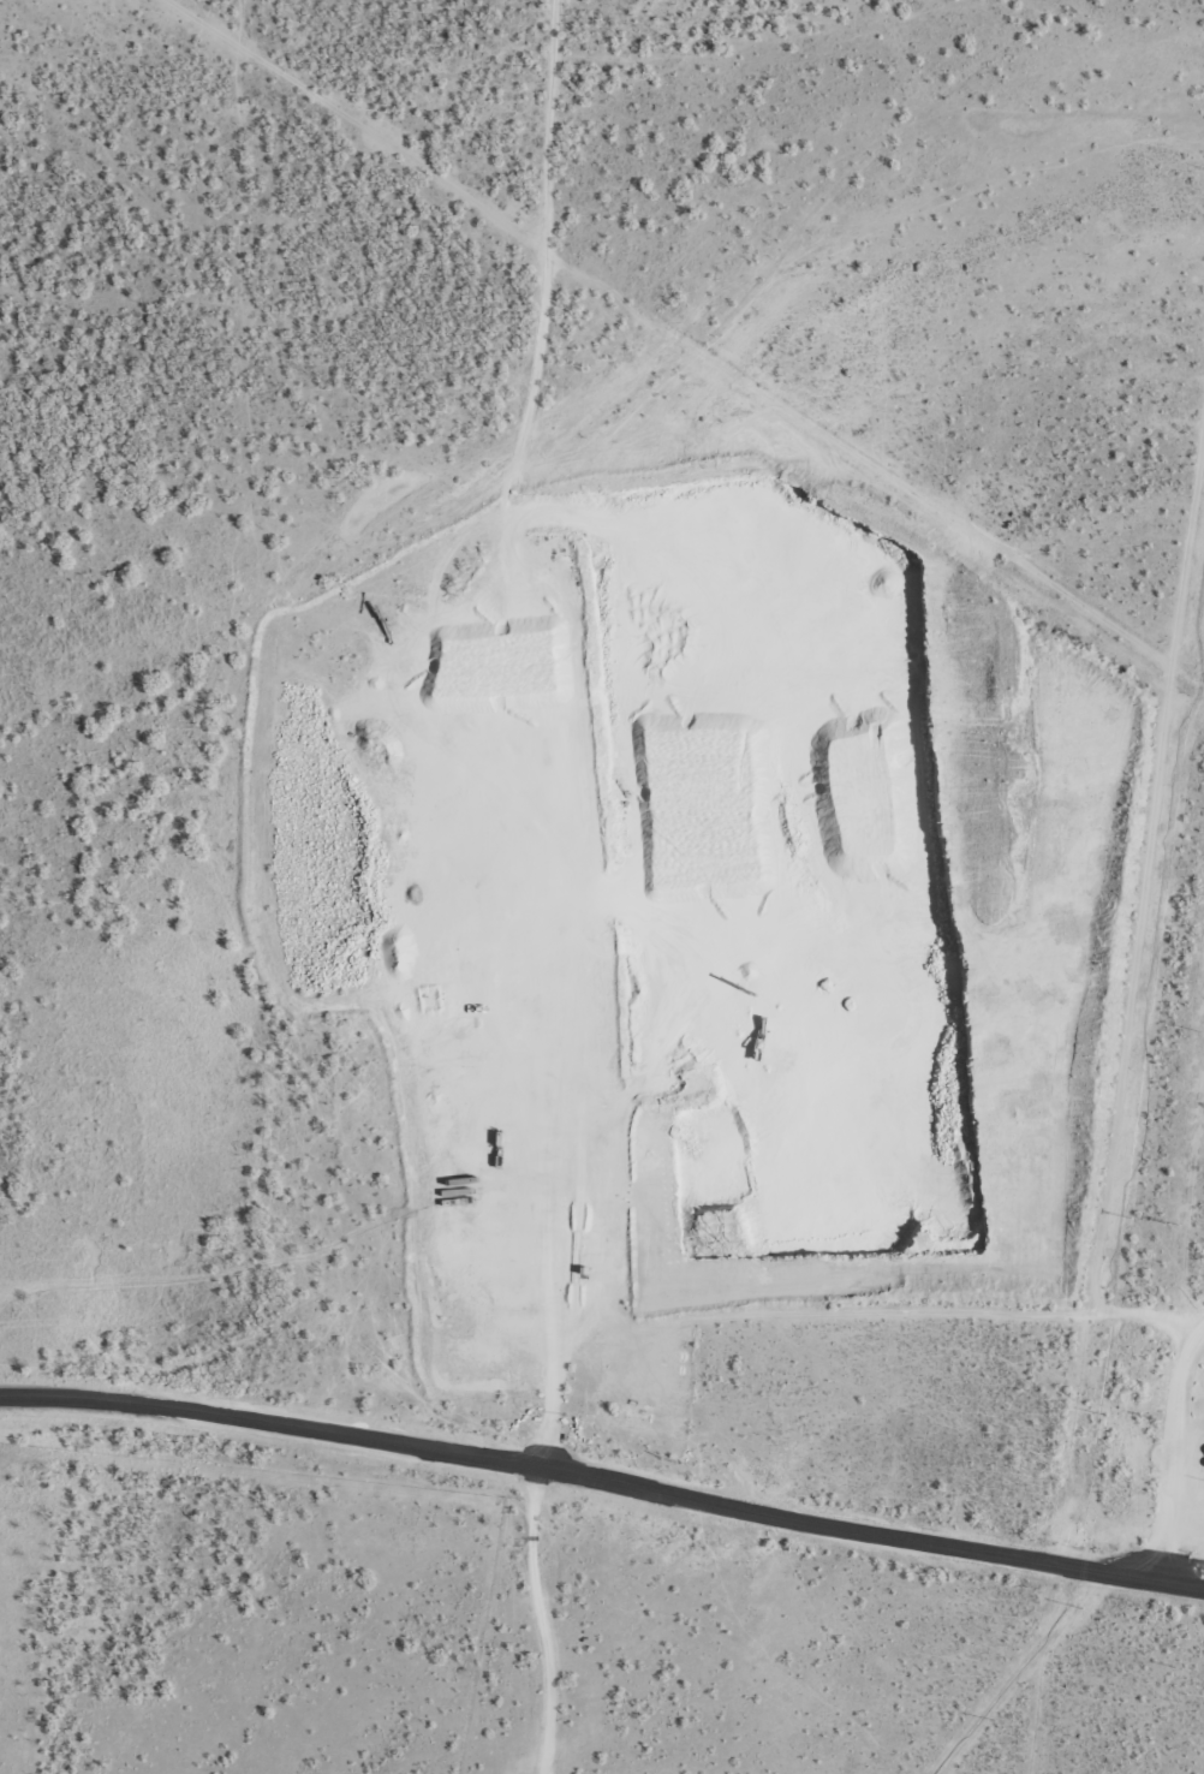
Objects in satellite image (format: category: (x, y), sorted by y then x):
road: (591, 726)
road: (600, 1478)
road: (530, 1621)

